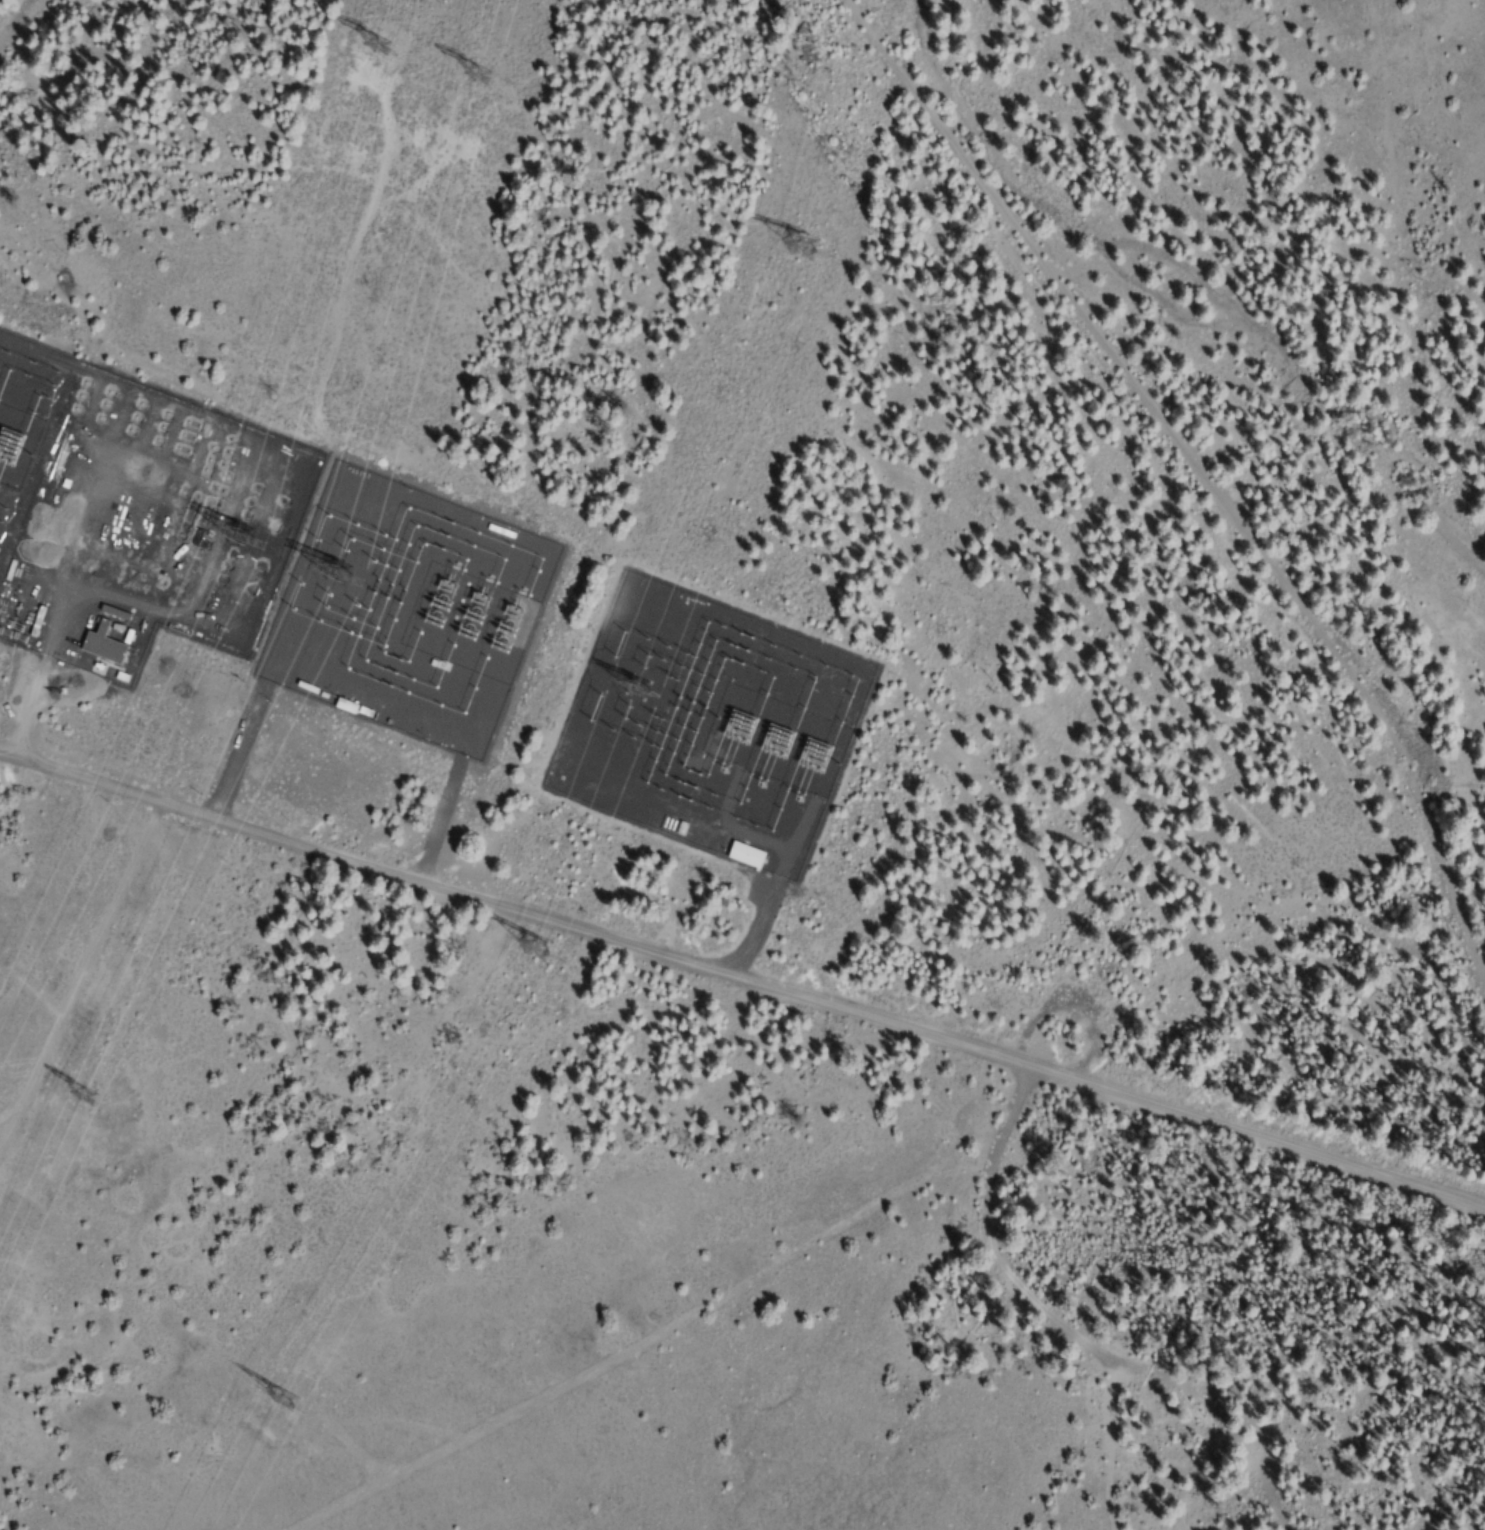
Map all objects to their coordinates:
power tower: (364, 36)
power tower: (479, 75)
power tower: (795, 251)
power tower: (228, 529)
power tower: (342, 572)
power substation: (411, 612)
building: (96, 640)
power tower: (633, 688)
road: (81, 973)
road: (743, 974)
power tower: (72, 1099)
power tower: (278, 1408)

